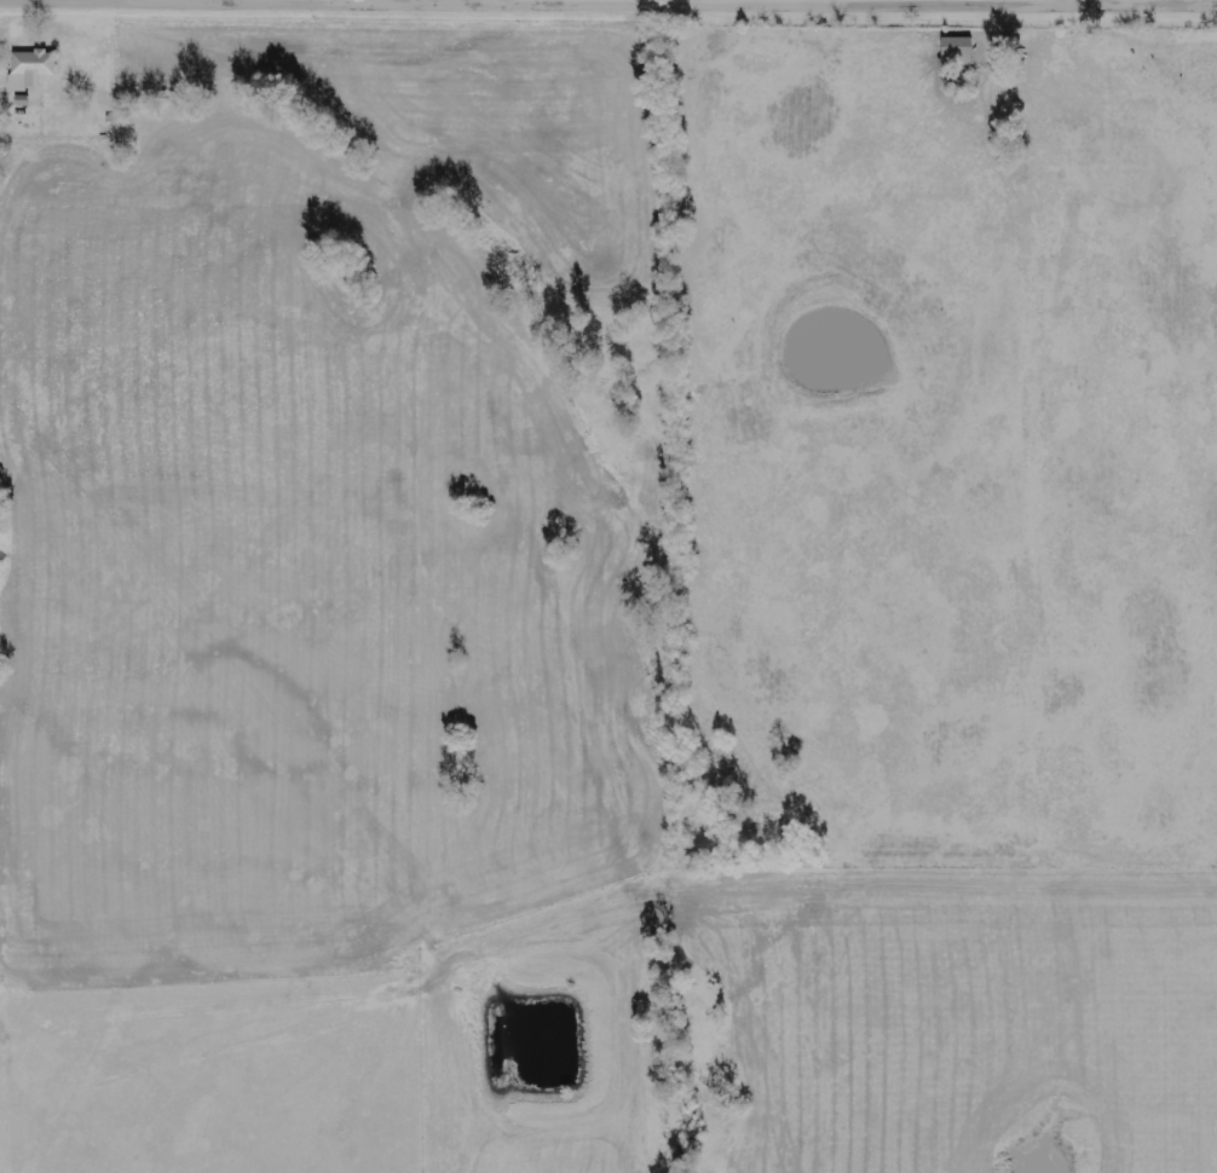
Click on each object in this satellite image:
road: (608, 6)
building: (29, 69)

